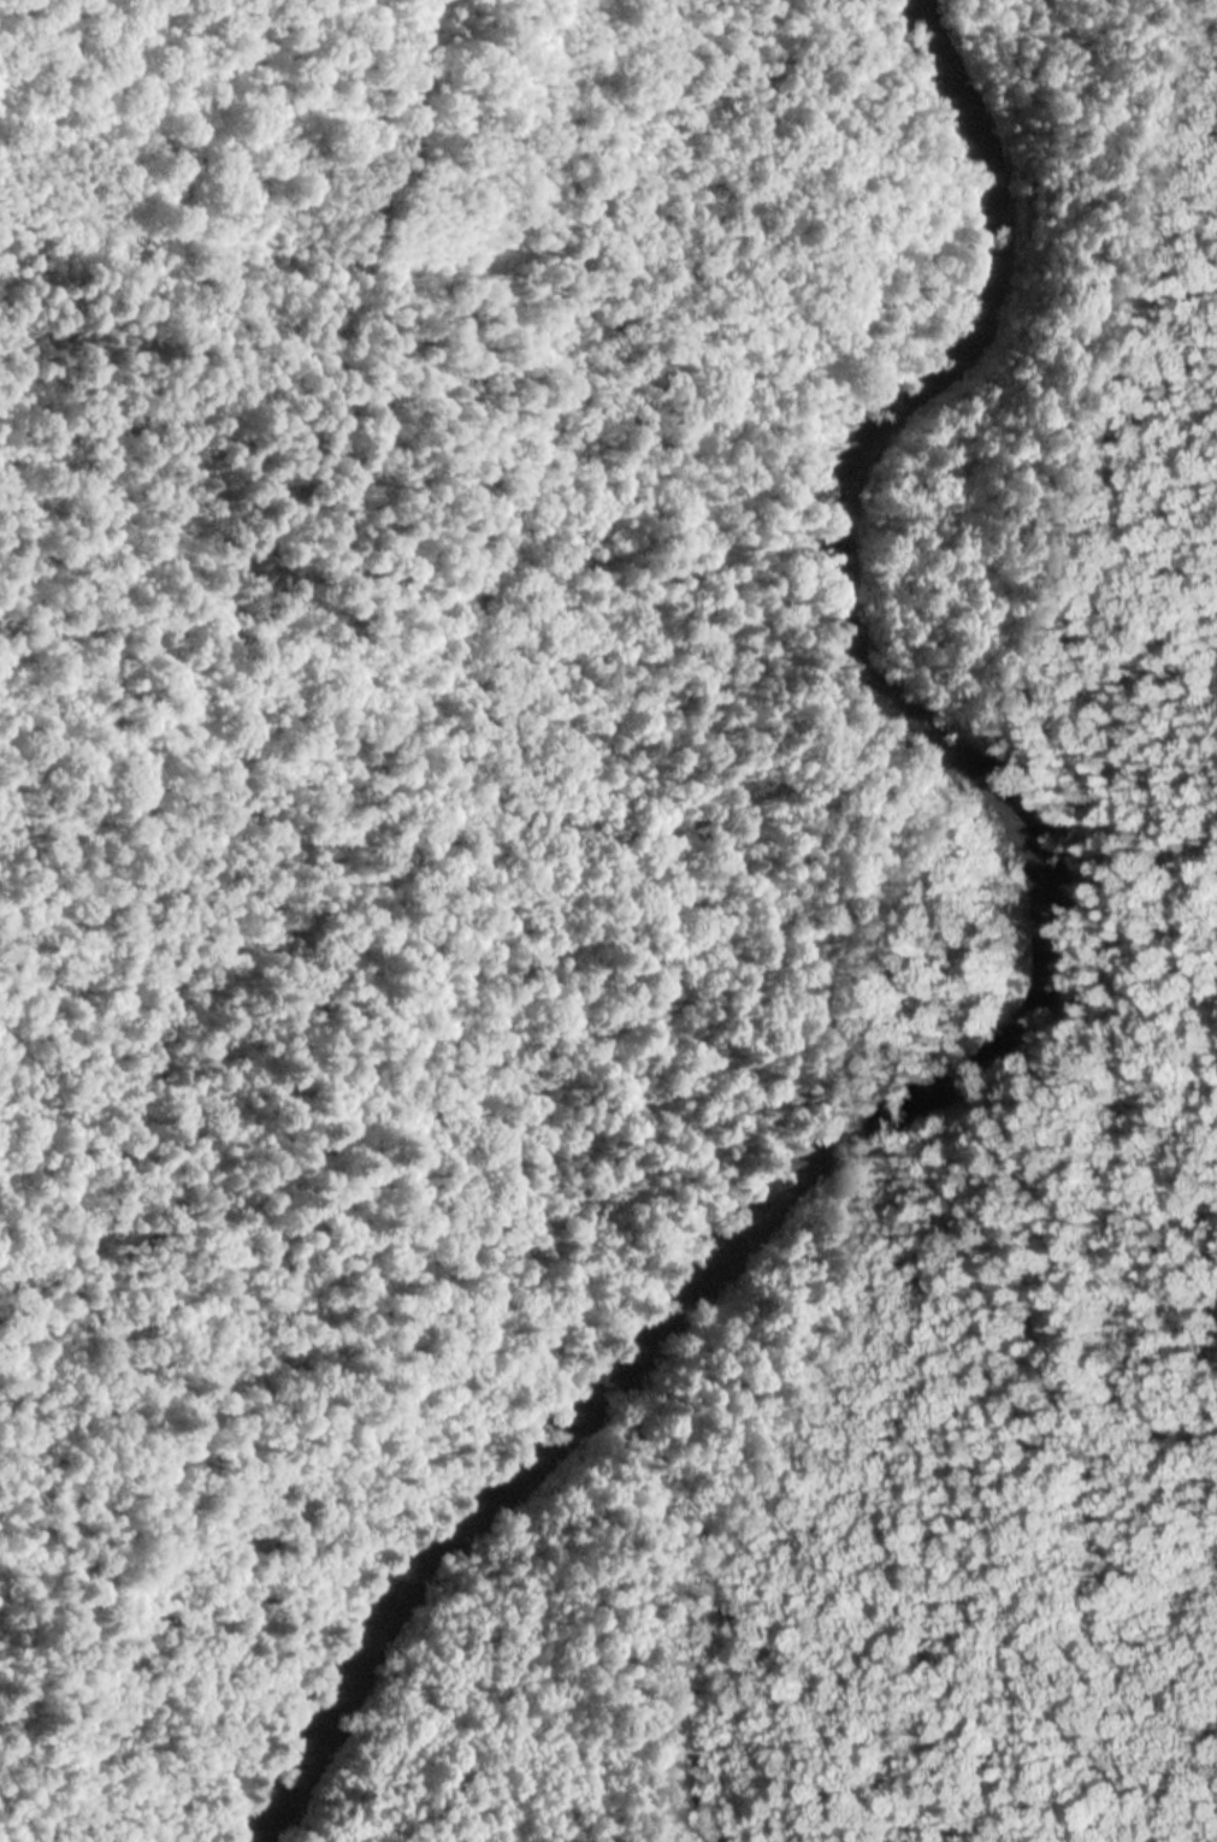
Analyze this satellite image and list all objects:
river: (886, 748)
river: (408, 1593)
river: (656, 1617)

